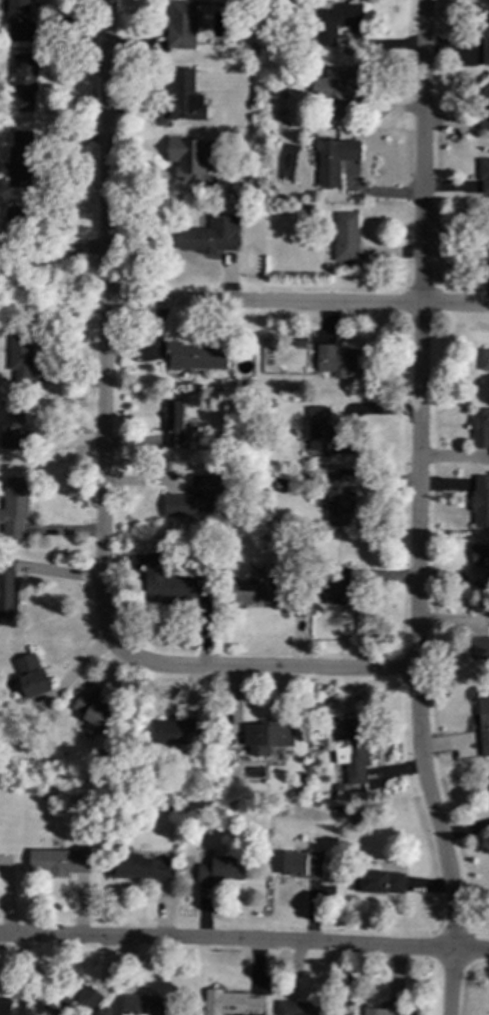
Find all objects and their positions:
building: (17, 11)
building: (334, 21)
building: (182, 23)
building: (484, 33)
building: (27, 70)
building: (335, 84)
building: (185, 95)
building: (484, 104)
building: (188, 155)
building: (336, 158)
building: (20, 159)
building: (483, 173)
building: (17, 220)
building: (209, 235)
building: (347, 237)
building: (6, 243)
building: (485, 248)
road: (302, 302)
road: (115, 329)
building: (193, 355)
building: (21, 358)
building: (339, 360)
building: (484, 360)
building: (11, 415)
building: (174, 424)
building: (319, 427)
building: (480, 427)
road: (425, 476)
building: (198, 488)
building: (340, 497)
building: (480, 502)
building: (14, 504)
building: (479, 555)
building: (163, 577)
building: (7, 590)
building: (259, 590)
building: (480, 648)
road: (266, 663)
building: (30, 675)
building: (93, 714)
building: (483, 720)
building: (183, 732)
building: (269, 735)
building: (352, 752)
building: (60, 862)
building: (137, 864)
building: (303, 864)
building: (220, 868)
building: (379, 881)
road: (244, 946)
road: (451, 983)
building: (82, 1001)
building: (229, 1002)
building: (149, 1005)
building: (6, 1008)
building: (298, 1008)
building: (386, 1010)

